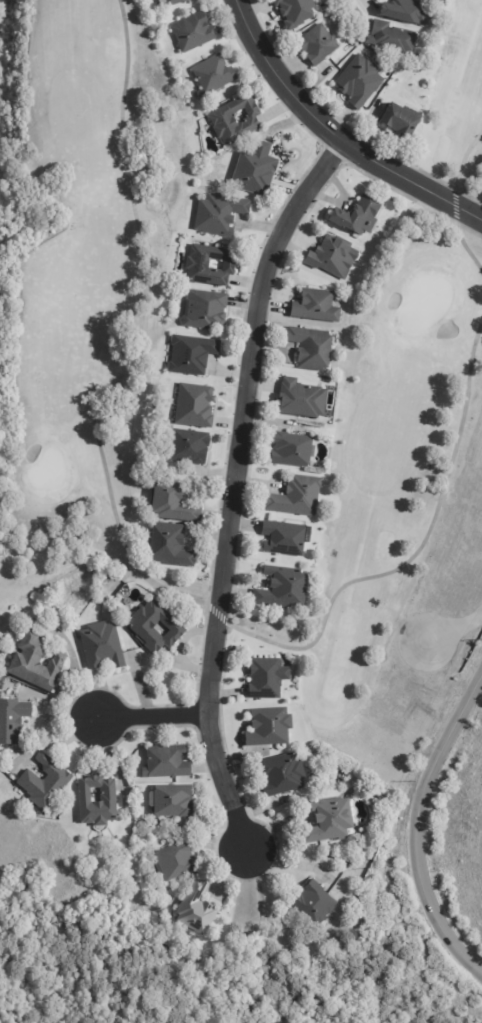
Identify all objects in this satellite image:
building: (160, 0)
building: (437, 1)
building: (177, 2)
building: (297, 12)
building: (406, 12)
building: (194, 32)
building: (393, 38)
building: (318, 46)
park: (459, 64)
building: (215, 75)
building: (361, 82)
building: (401, 120)
building: (237, 121)
road: (336, 133)
building: (256, 170)
building: (220, 215)
building: (358, 216)
building: (334, 257)
building: (210, 267)
building: (317, 306)
building: (207, 311)
park: (77, 335)
building: (313, 348)
building: (193, 356)
building: (302, 399)
building: (193, 405)
building: (190, 446)
building: (292, 449)
road: (237, 489)
building: (297, 496)
building: (174, 502)
building: (284, 538)
building: (172, 545)
building: (284, 589)
building: (142, 627)
road: (451, 629)
building: (104, 646)
building: (36, 662)
building: (266, 678)
road: (154, 717)
building: (13, 720)
building: (271, 728)
building: (167, 762)
building: (283, 775)
building: (46, 783)
building: (109, 796)
building: (173, 802)
building: (331, 821)
road: (417, 831)
building: (327, 852)
building: (178, 861)
building: (315, 903)
building: (197, 909)

